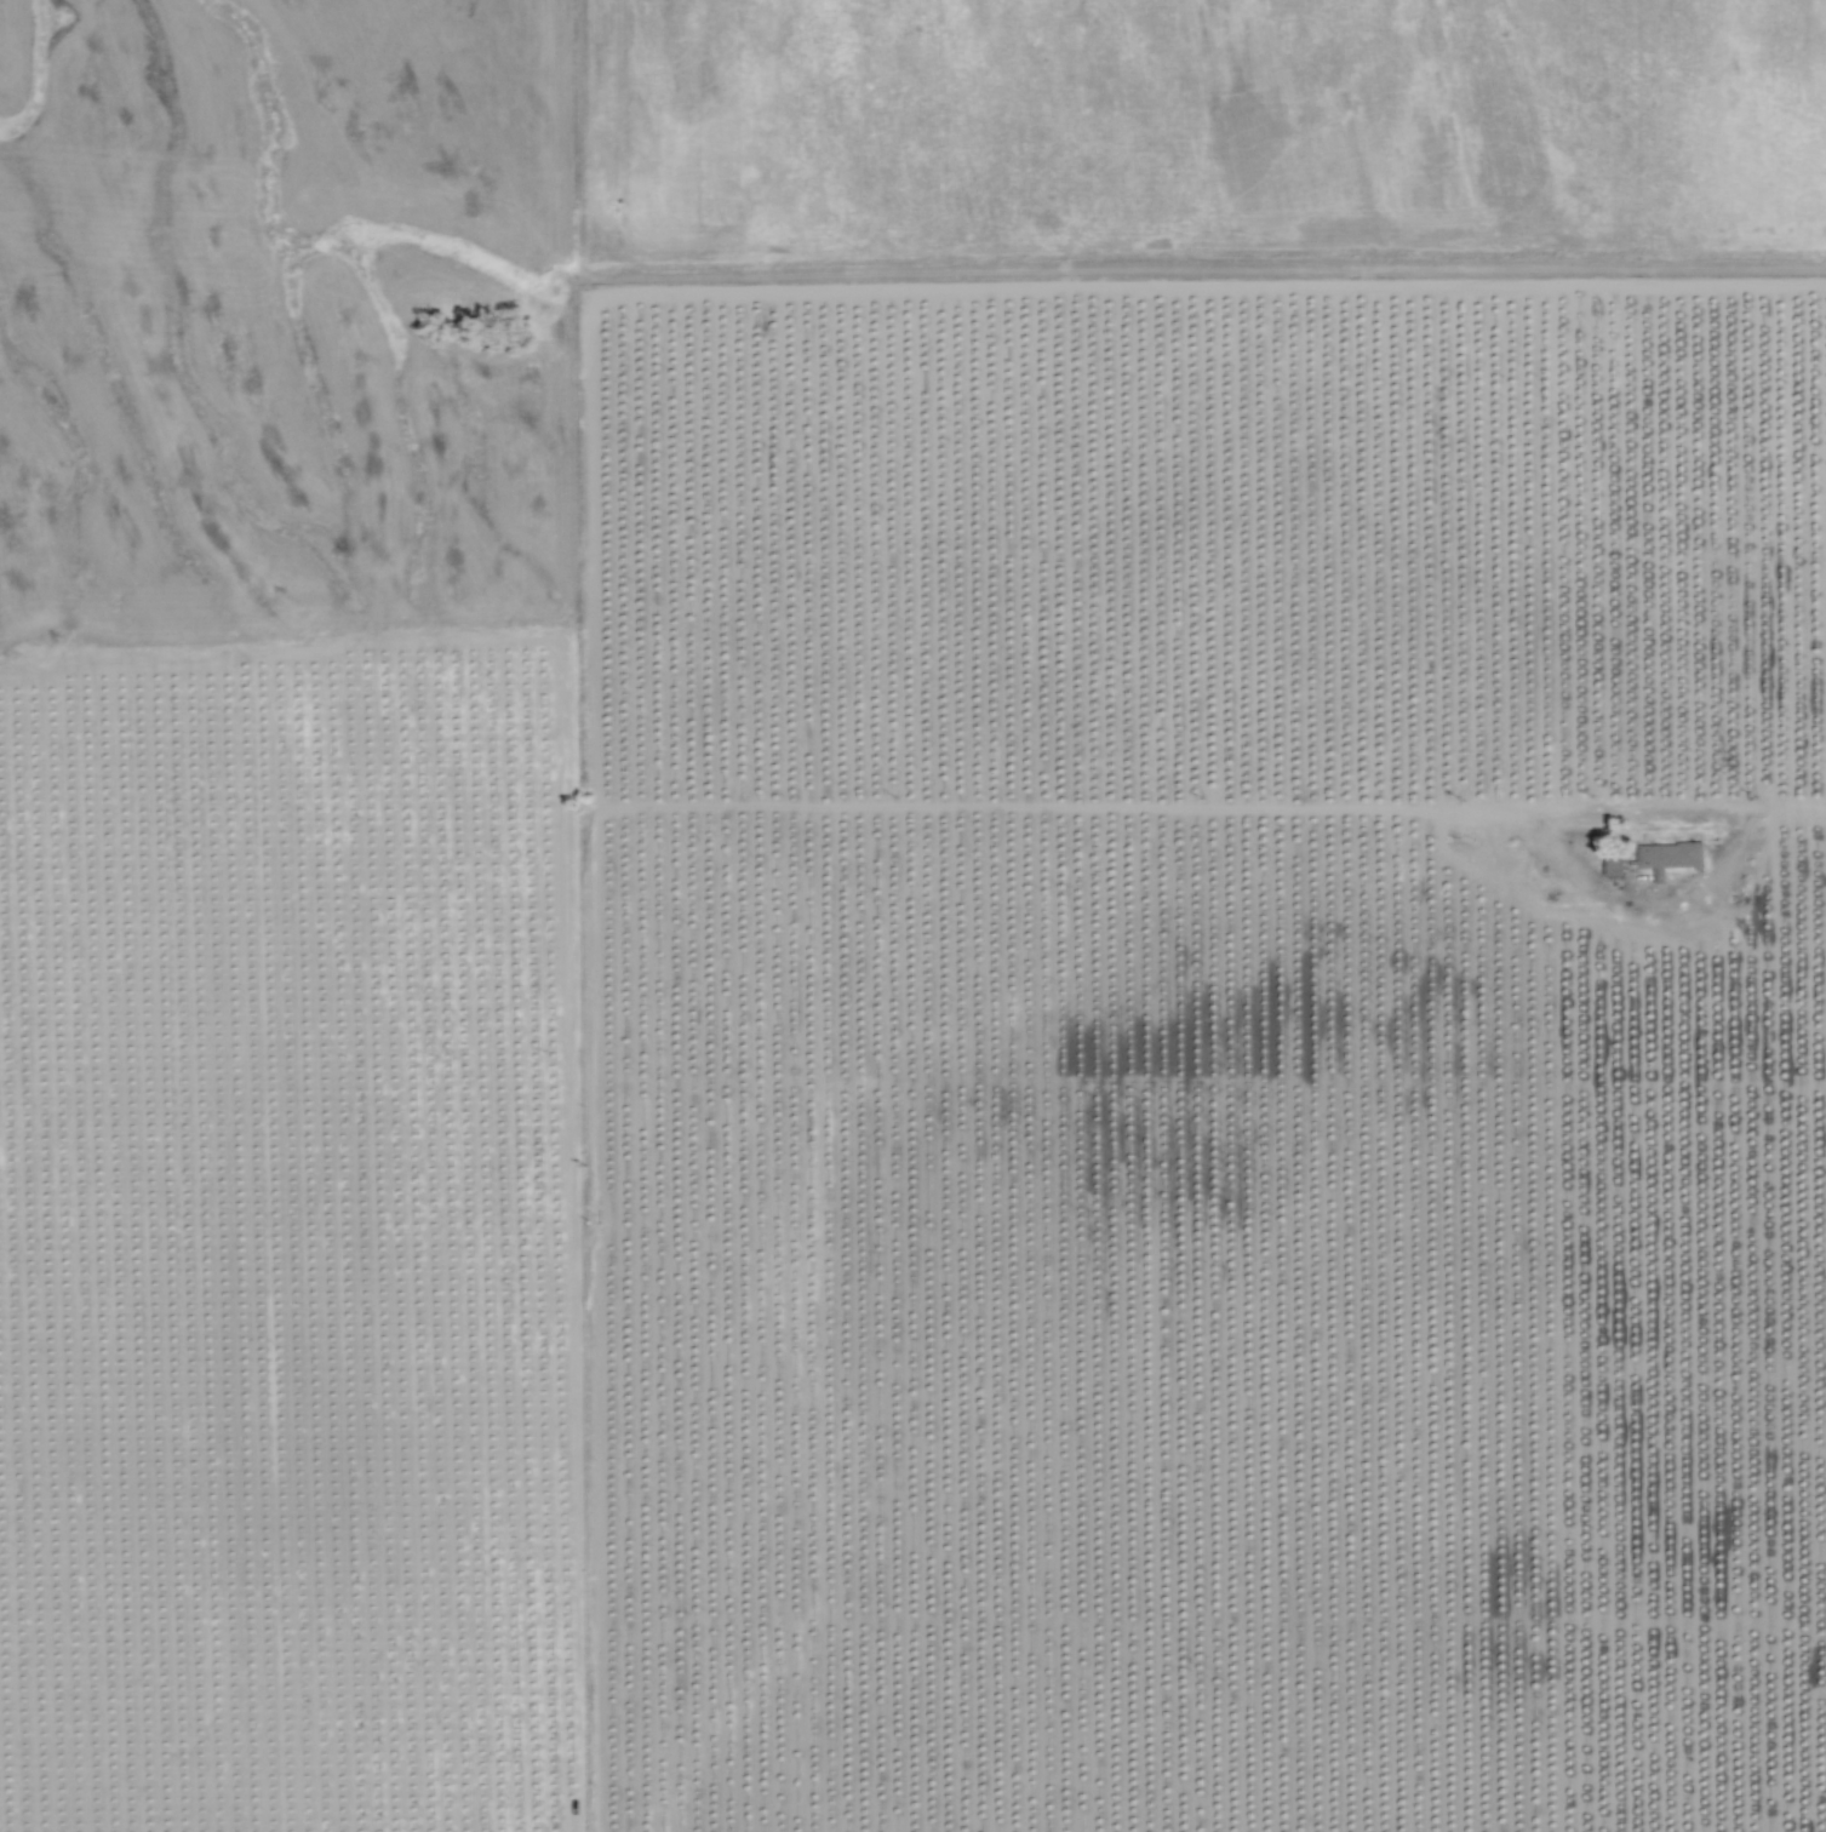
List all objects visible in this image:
road: (1787, 811)
road: (1565, 857)
building: (1671, 859)
crop: (1259, 1412)

